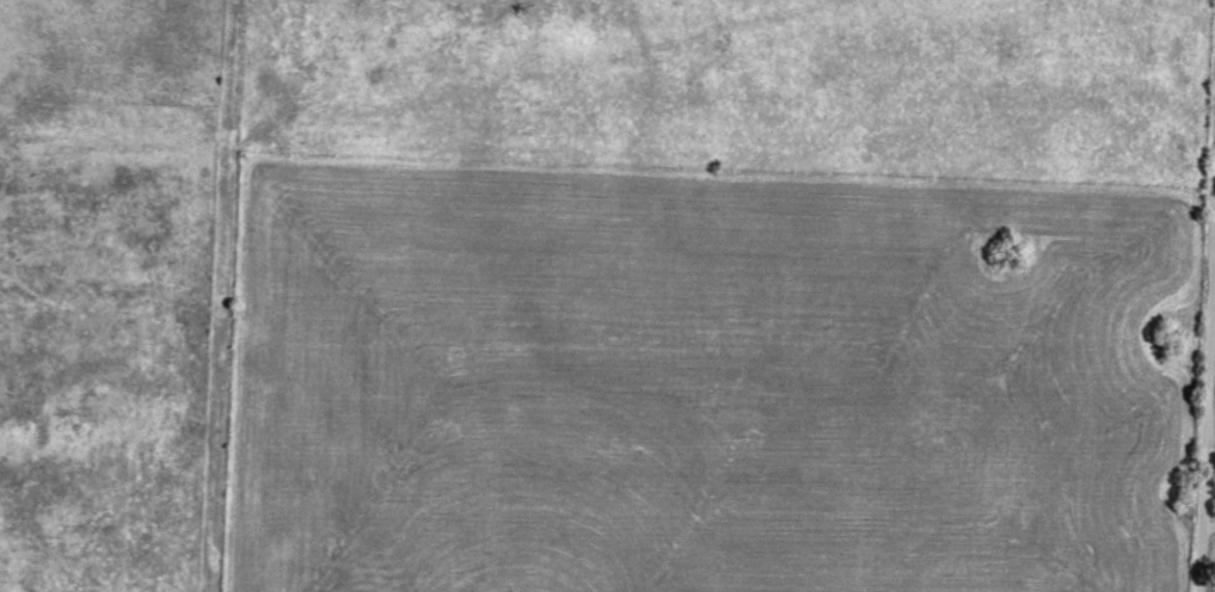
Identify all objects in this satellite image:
road: (1207, 364)

